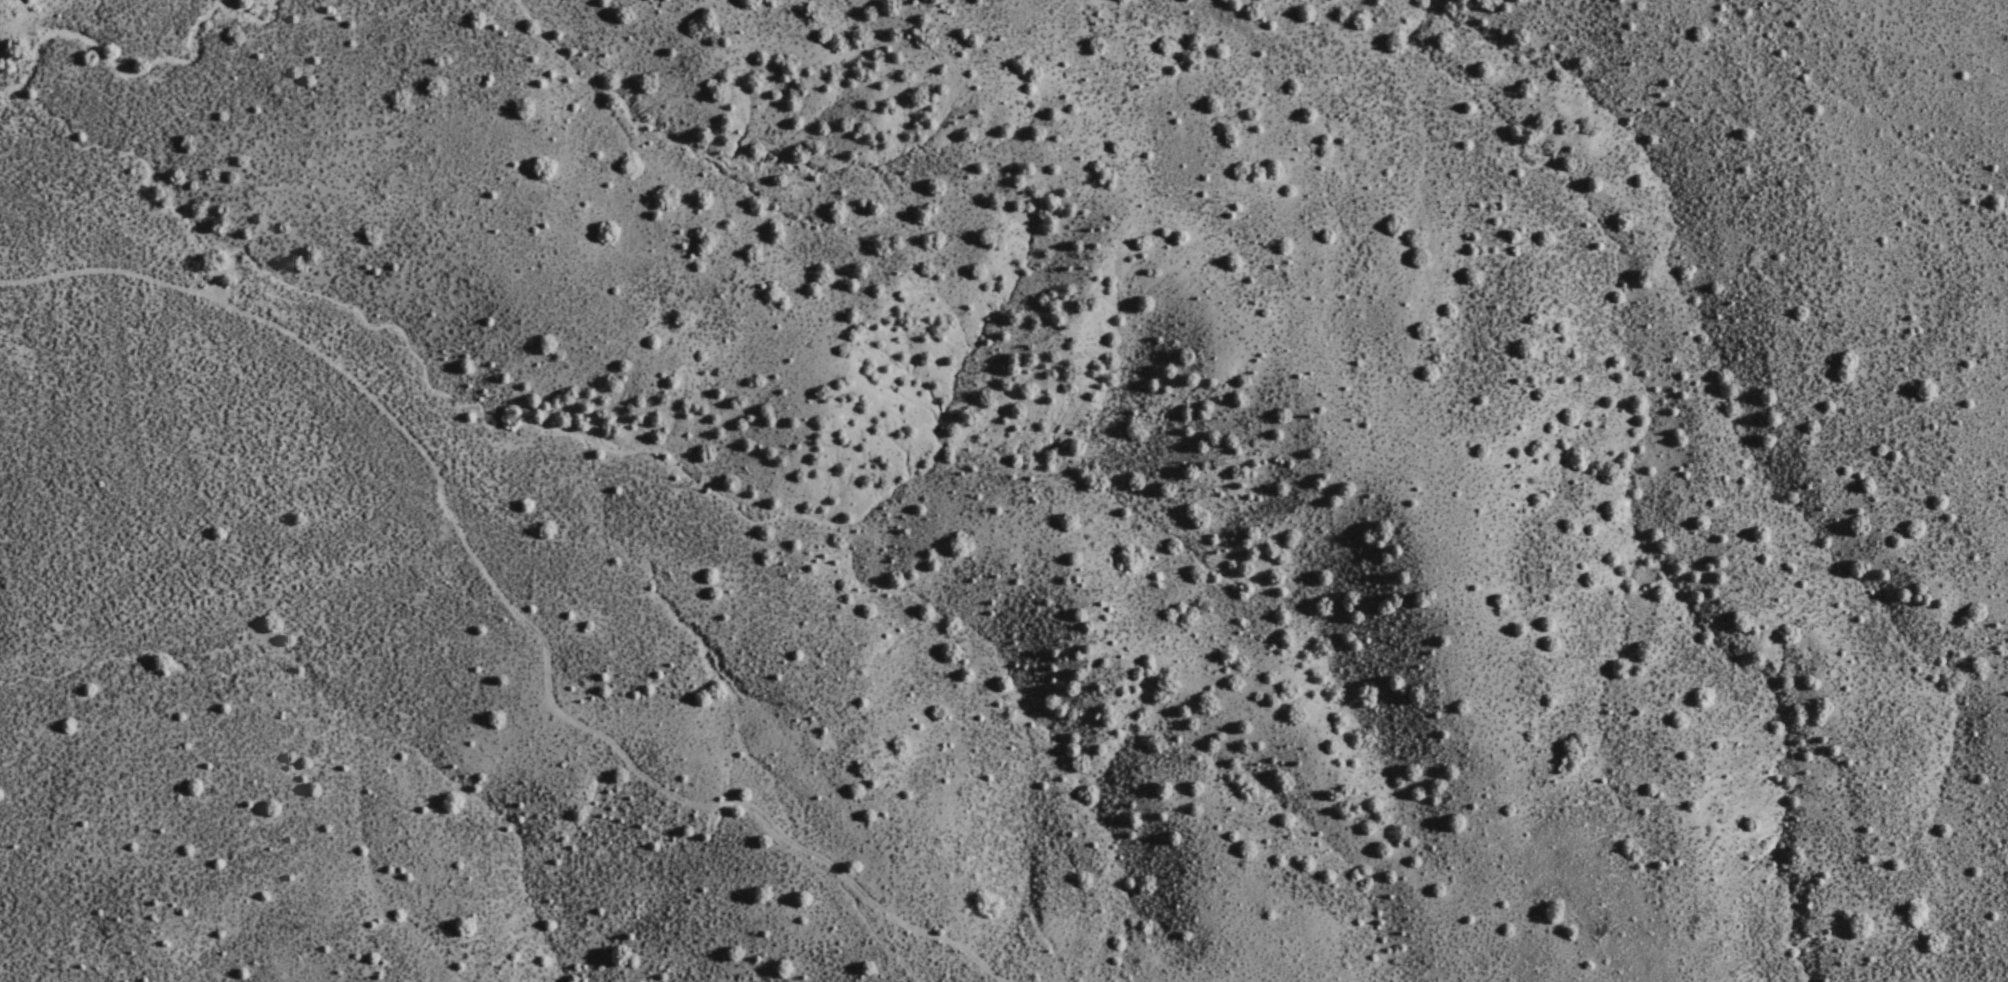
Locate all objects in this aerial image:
road: (494, 575)

